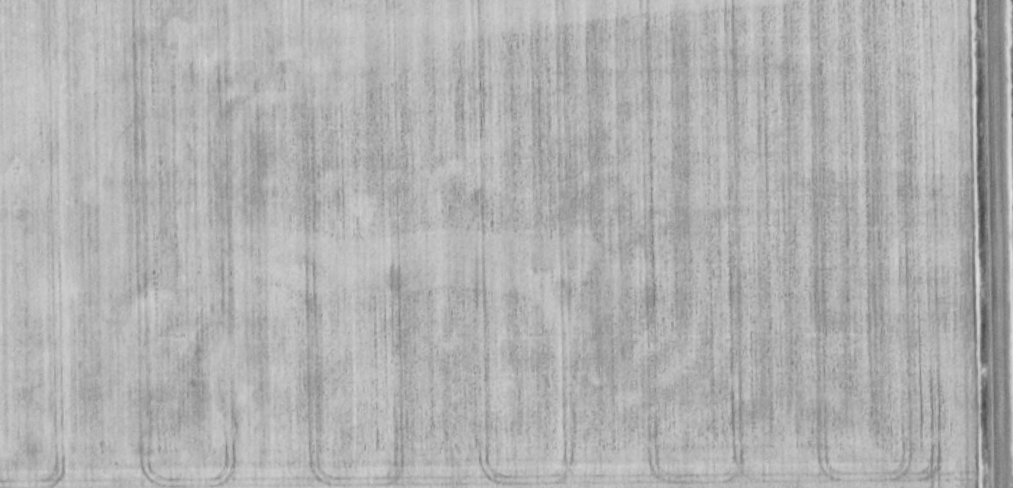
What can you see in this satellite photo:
road: (1001, 244)

